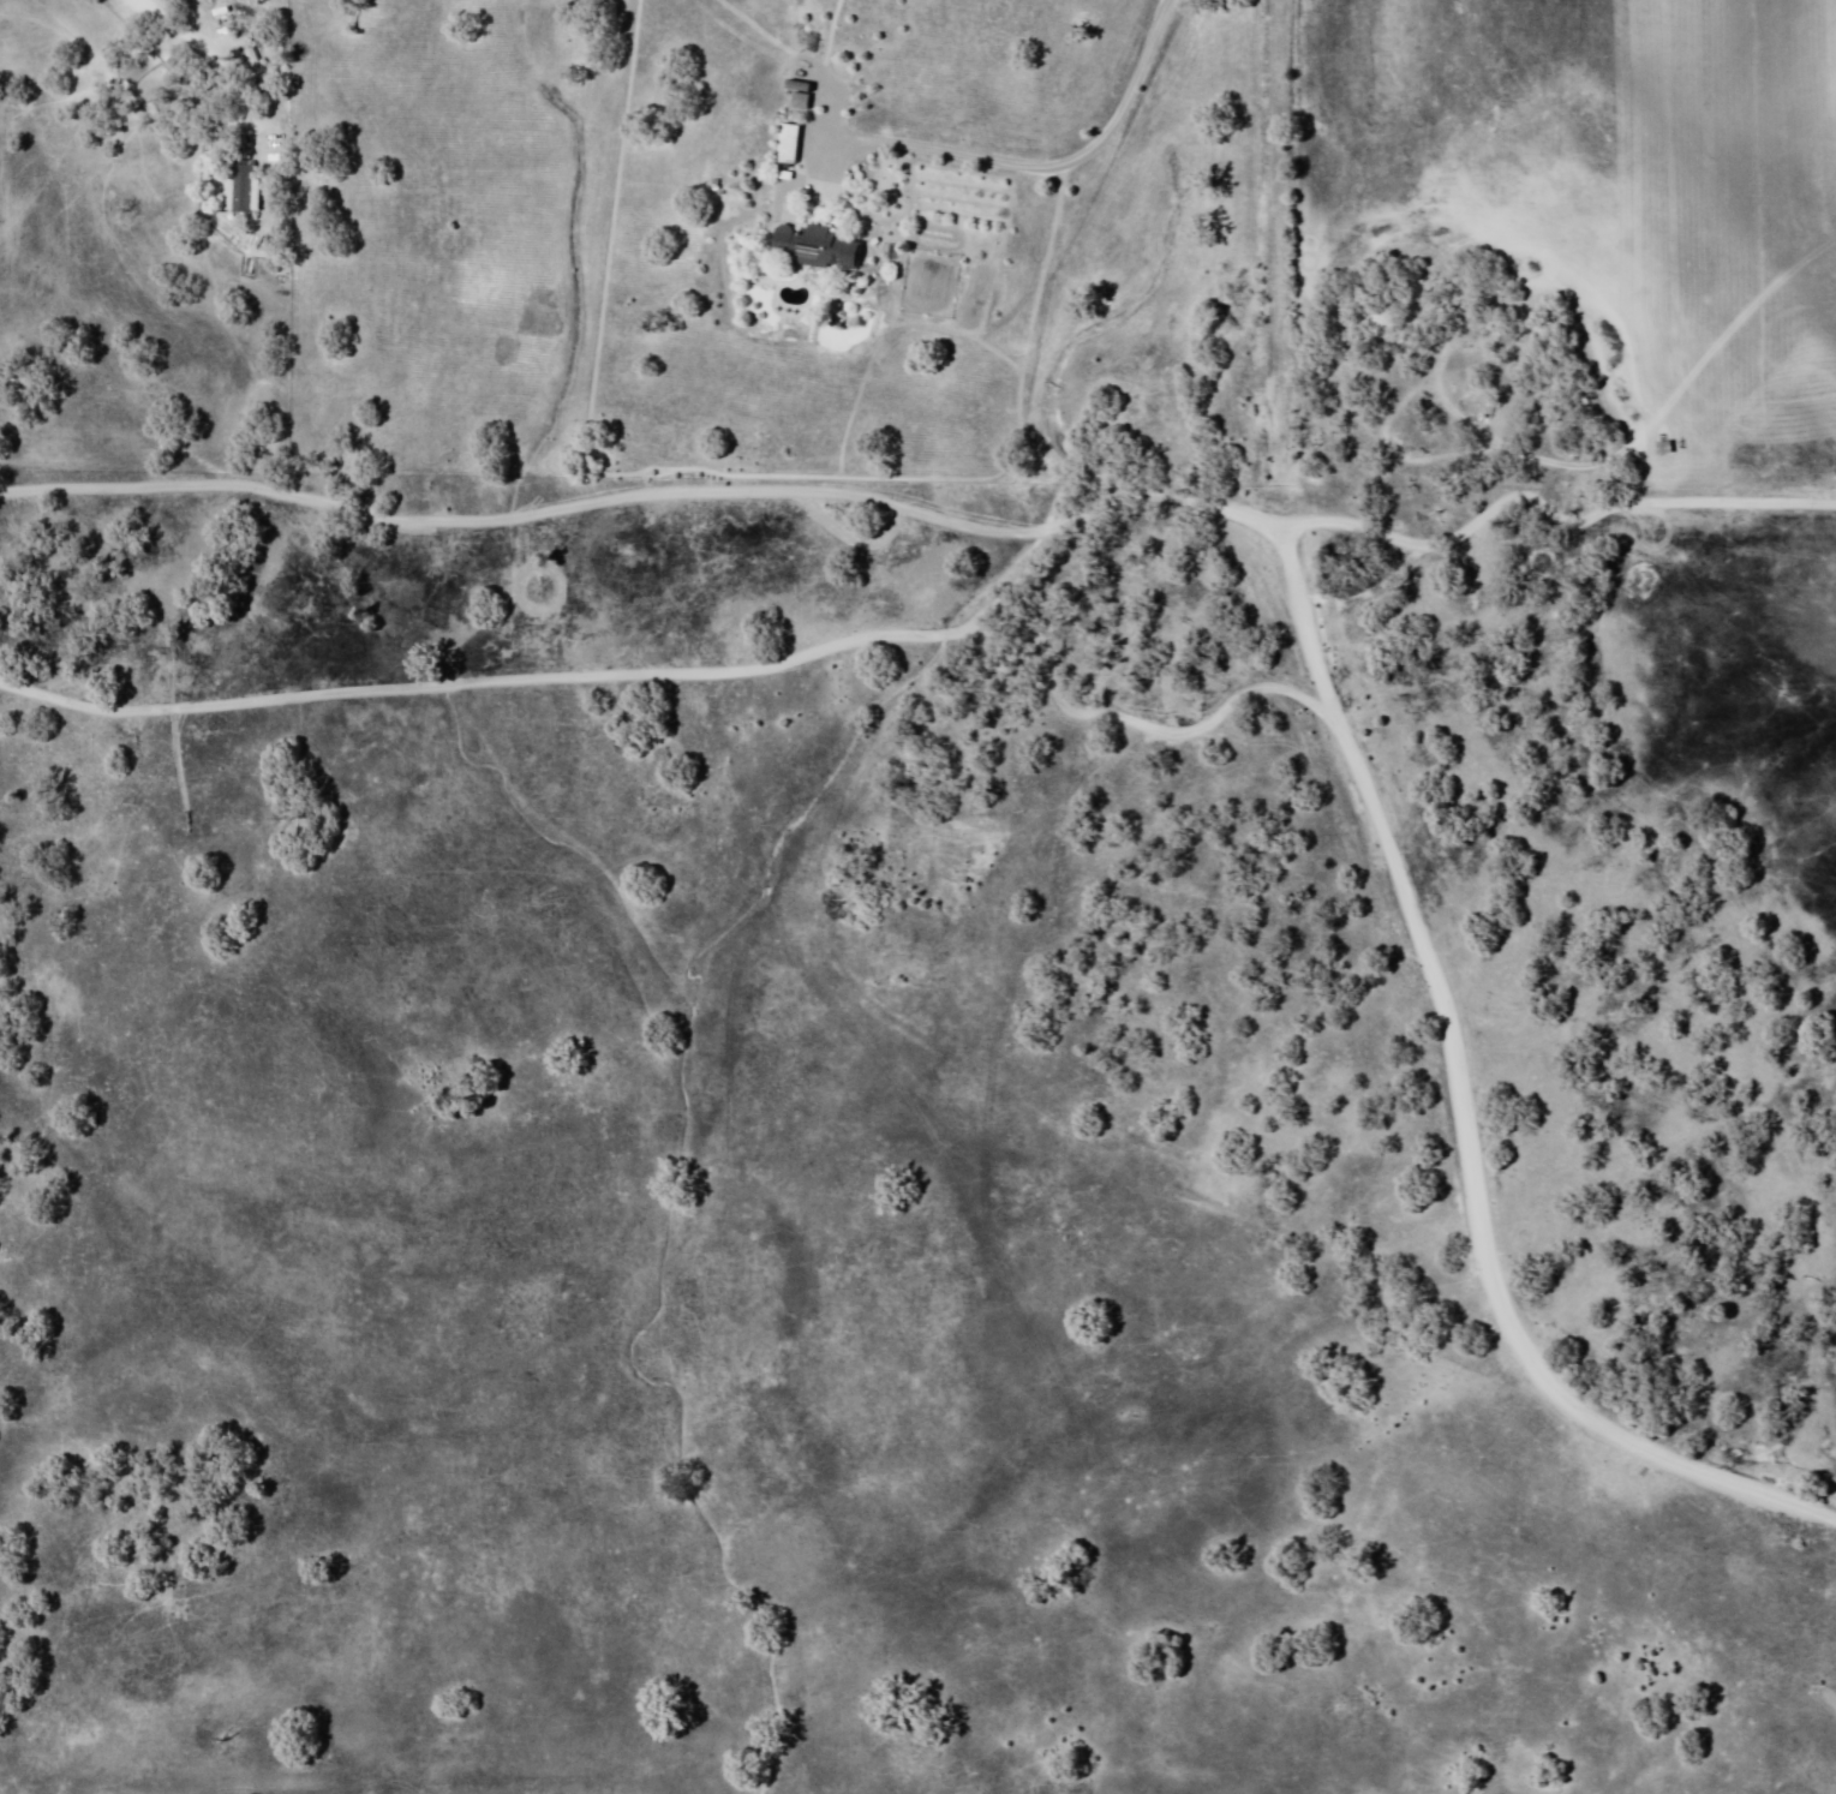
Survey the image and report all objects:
road: (256, 142)
building: (787, 145)
building: (244, 190)
road: (273, 226)
building: (814, 249)
building: (1659, 449)
road: (647, 573)
road: (1387, 860)
road: (1192, 1059)

